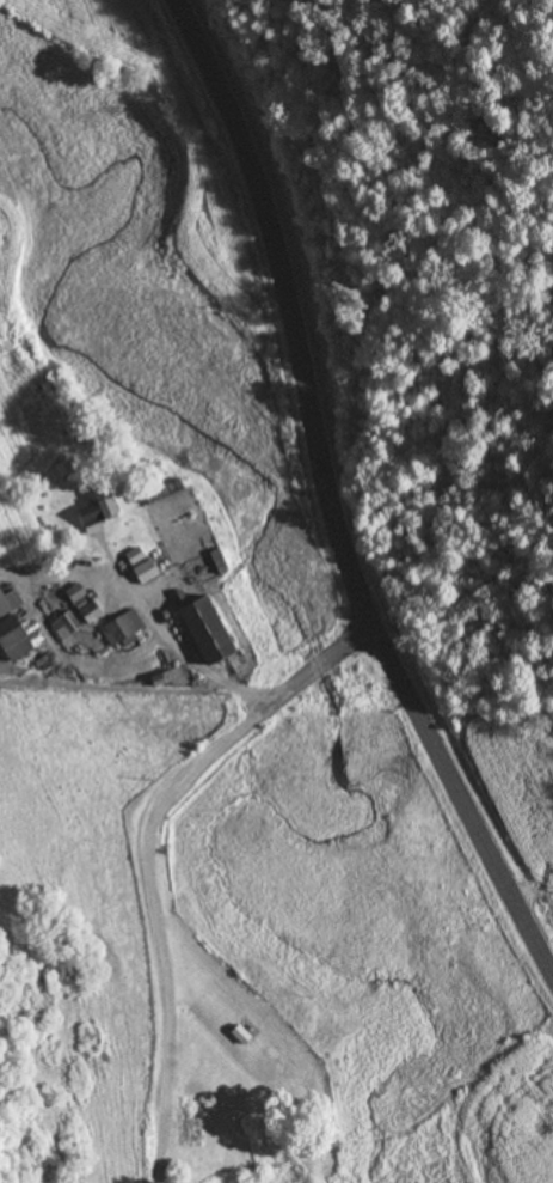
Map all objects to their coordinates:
road: (334, 500)
building: (98, 507)
building: (150, 572)
building: (84, 603)
building: (6, 604)
building: (67, 626)
building: (215, 630)
road: (313, 669)

